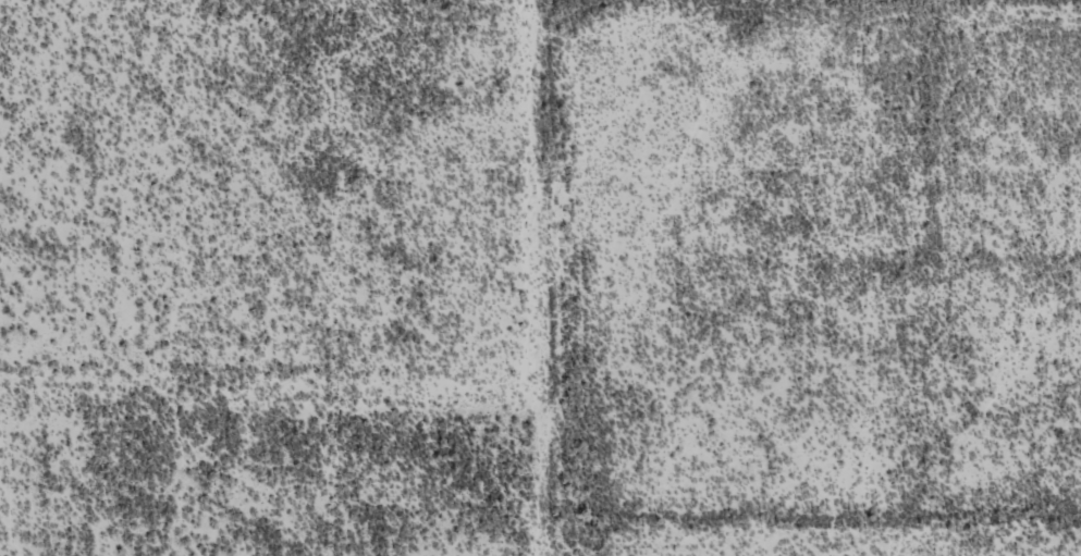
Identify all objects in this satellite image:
road: (563, 277)

